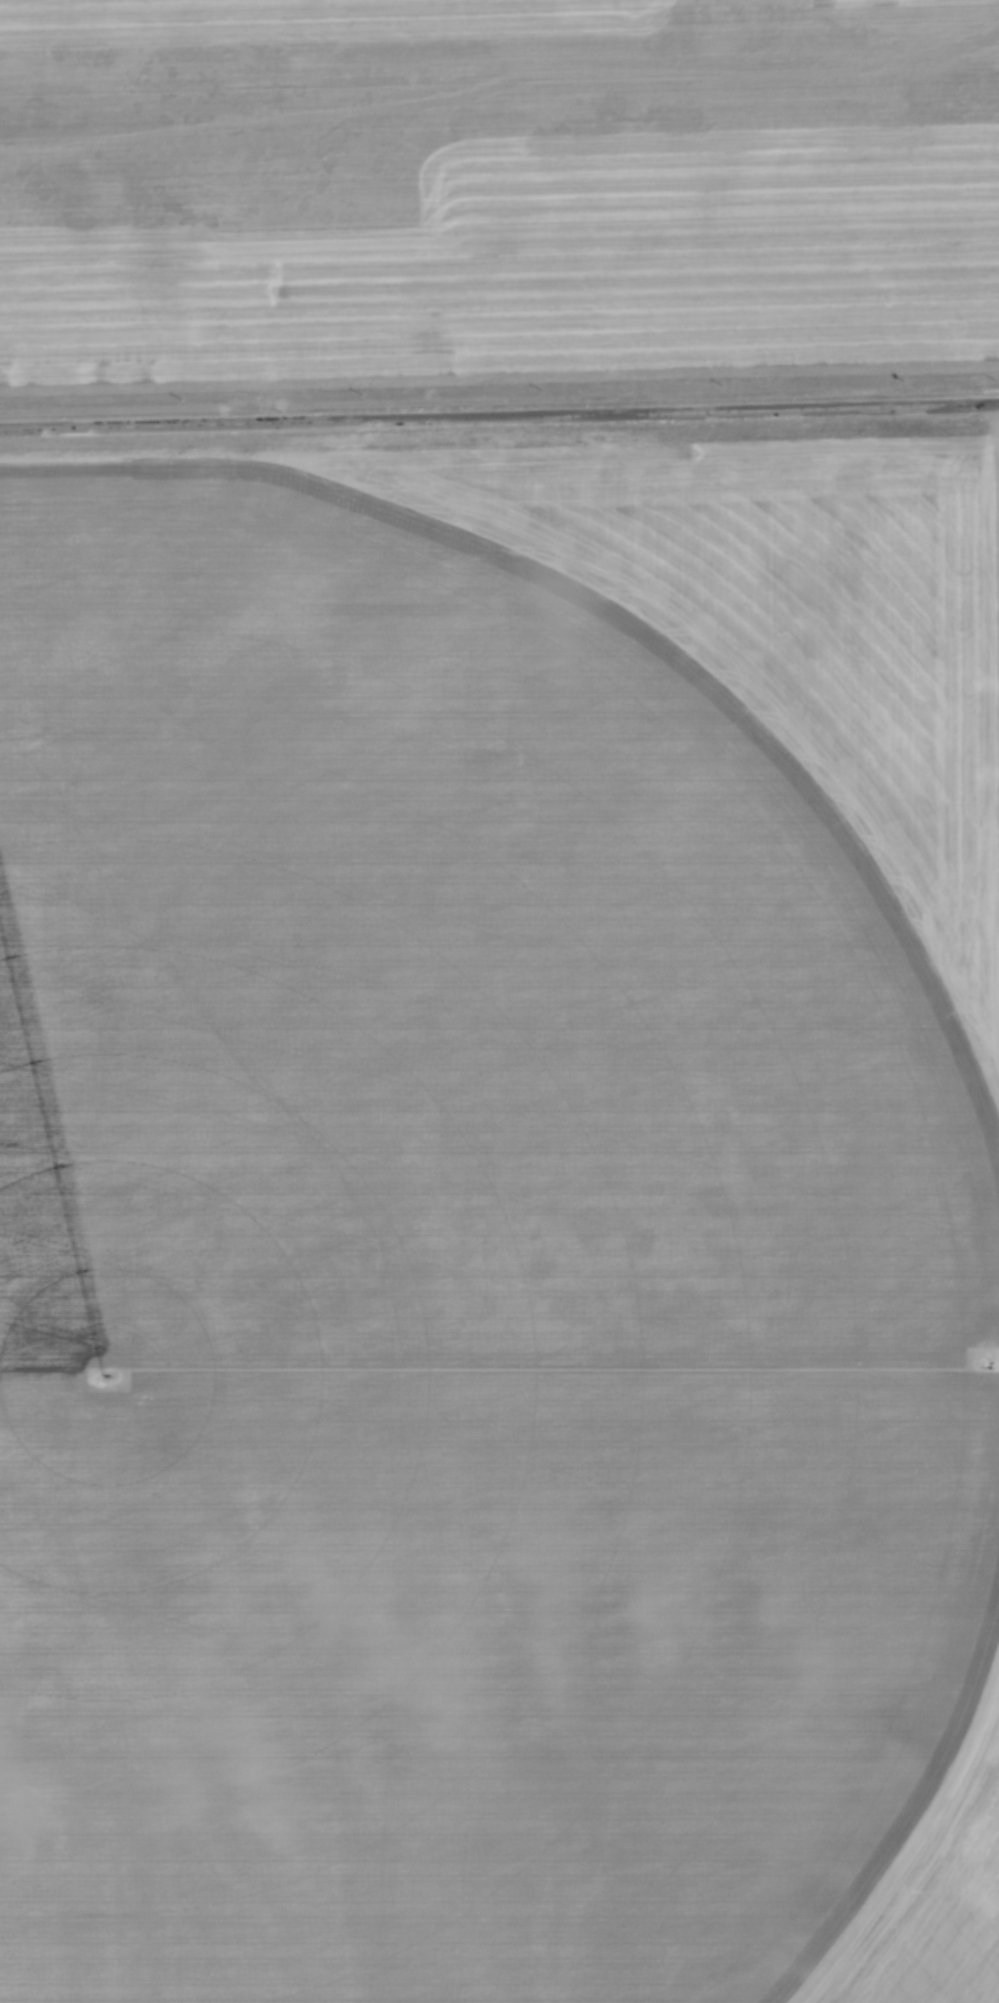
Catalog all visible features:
road: (499, 406)

